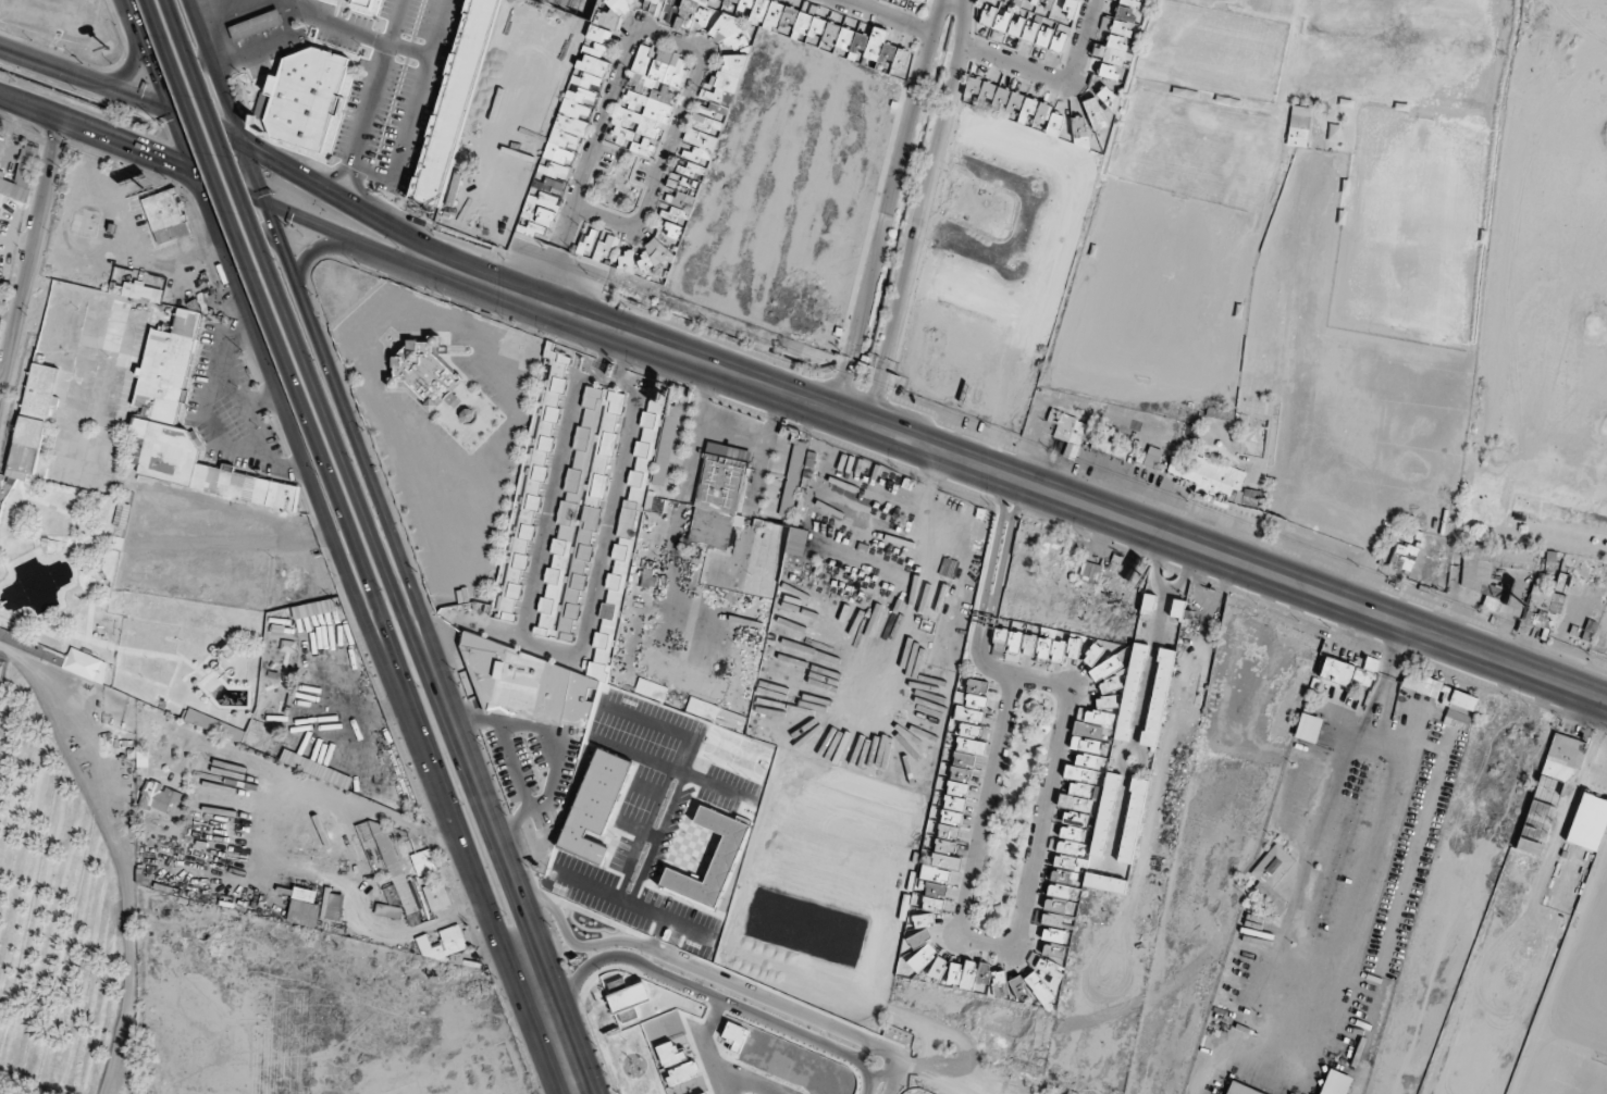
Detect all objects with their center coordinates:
park: (1258, 7)
park: (1406, 50)
park: (1411, 227)
park: (1288, 263)
park: (1162, 290)

